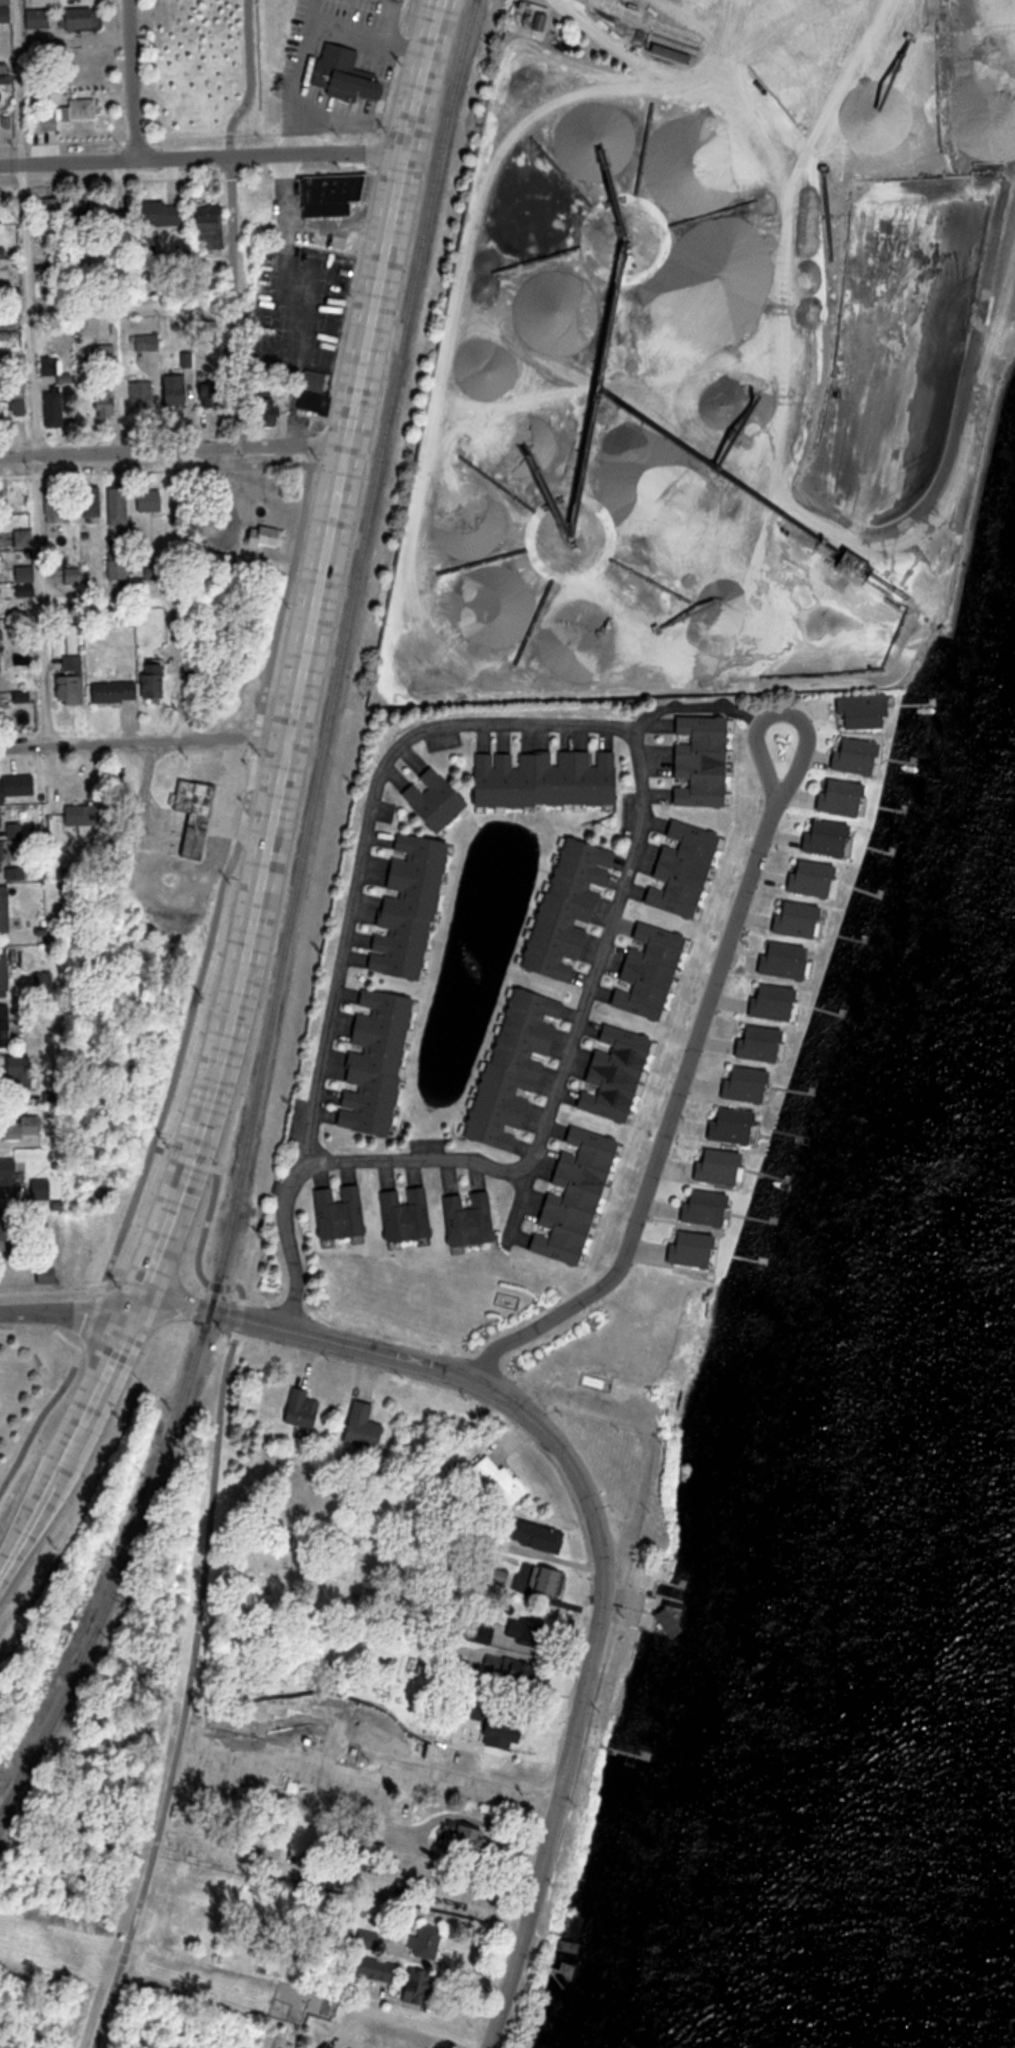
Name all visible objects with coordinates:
building: (6, 2)
building: (45, 3)
building: (5, 13)
building: (86, 20)
building: (41, 21)
road: (370, 41)
park: (210, 73)
road: (299, 76)
road: (134, 79)
building: (343, 84)
building: (83, 111)
road: (202, 157)
building: (334, 194)
building: (166, 213)
building: (210, 220)
building: (3, 252)
road: (32, 372)
building: (175, 390)
building: (210, 394)
building: (54, 395)
building: (142, 396)
road: (173, 451)
building: (150, 501)
building: (58, 504)
building: (118, 507)
building: (92, 508)
building: (1, 568)
building: (119, 572)
building: (27, 573)
building: (73, 576)
road: (173, 596)
road: (108, 599)
road: (277, 628)
building: (0, 633)
building: (75, 642)
building: (24, 663)
building: (1, 664)
building: (73, 680)
building: (158, 681)
building: (117, 691)
building: (25, 697)
building: (2, 700)
road: (145, 741)
building: (688, 761)
road: (255, 778)
building: (17, 787)
road: (276, 804)
building: (198, 814)
building: (87, 816)
building: (4, 818)
road: (245, 836)
road: (372, 837)
building: (3, 856)
building: (18, 873)
building: (684, 874)
road: (187, 880)
building: (6, 910)
railway: (291, 923)
building: (654, 969)
building: (6, 970)
road: (718, 993)
building: (13, 1024)
building: (617, 1078)
road: (544, 1137)
building: (11, 1173)
building: (43, 1188)
building: (575, 1197)
building: (10, 1223)
road: (190, 1306)
road: (114, 1308)
road: (46, 1311)
road: (50, 1404)
road: (593, 1579)
road: (188, 1687)
power tower: (36, 1798)
power tower: (8, 1850)
road: (394, 2020)

